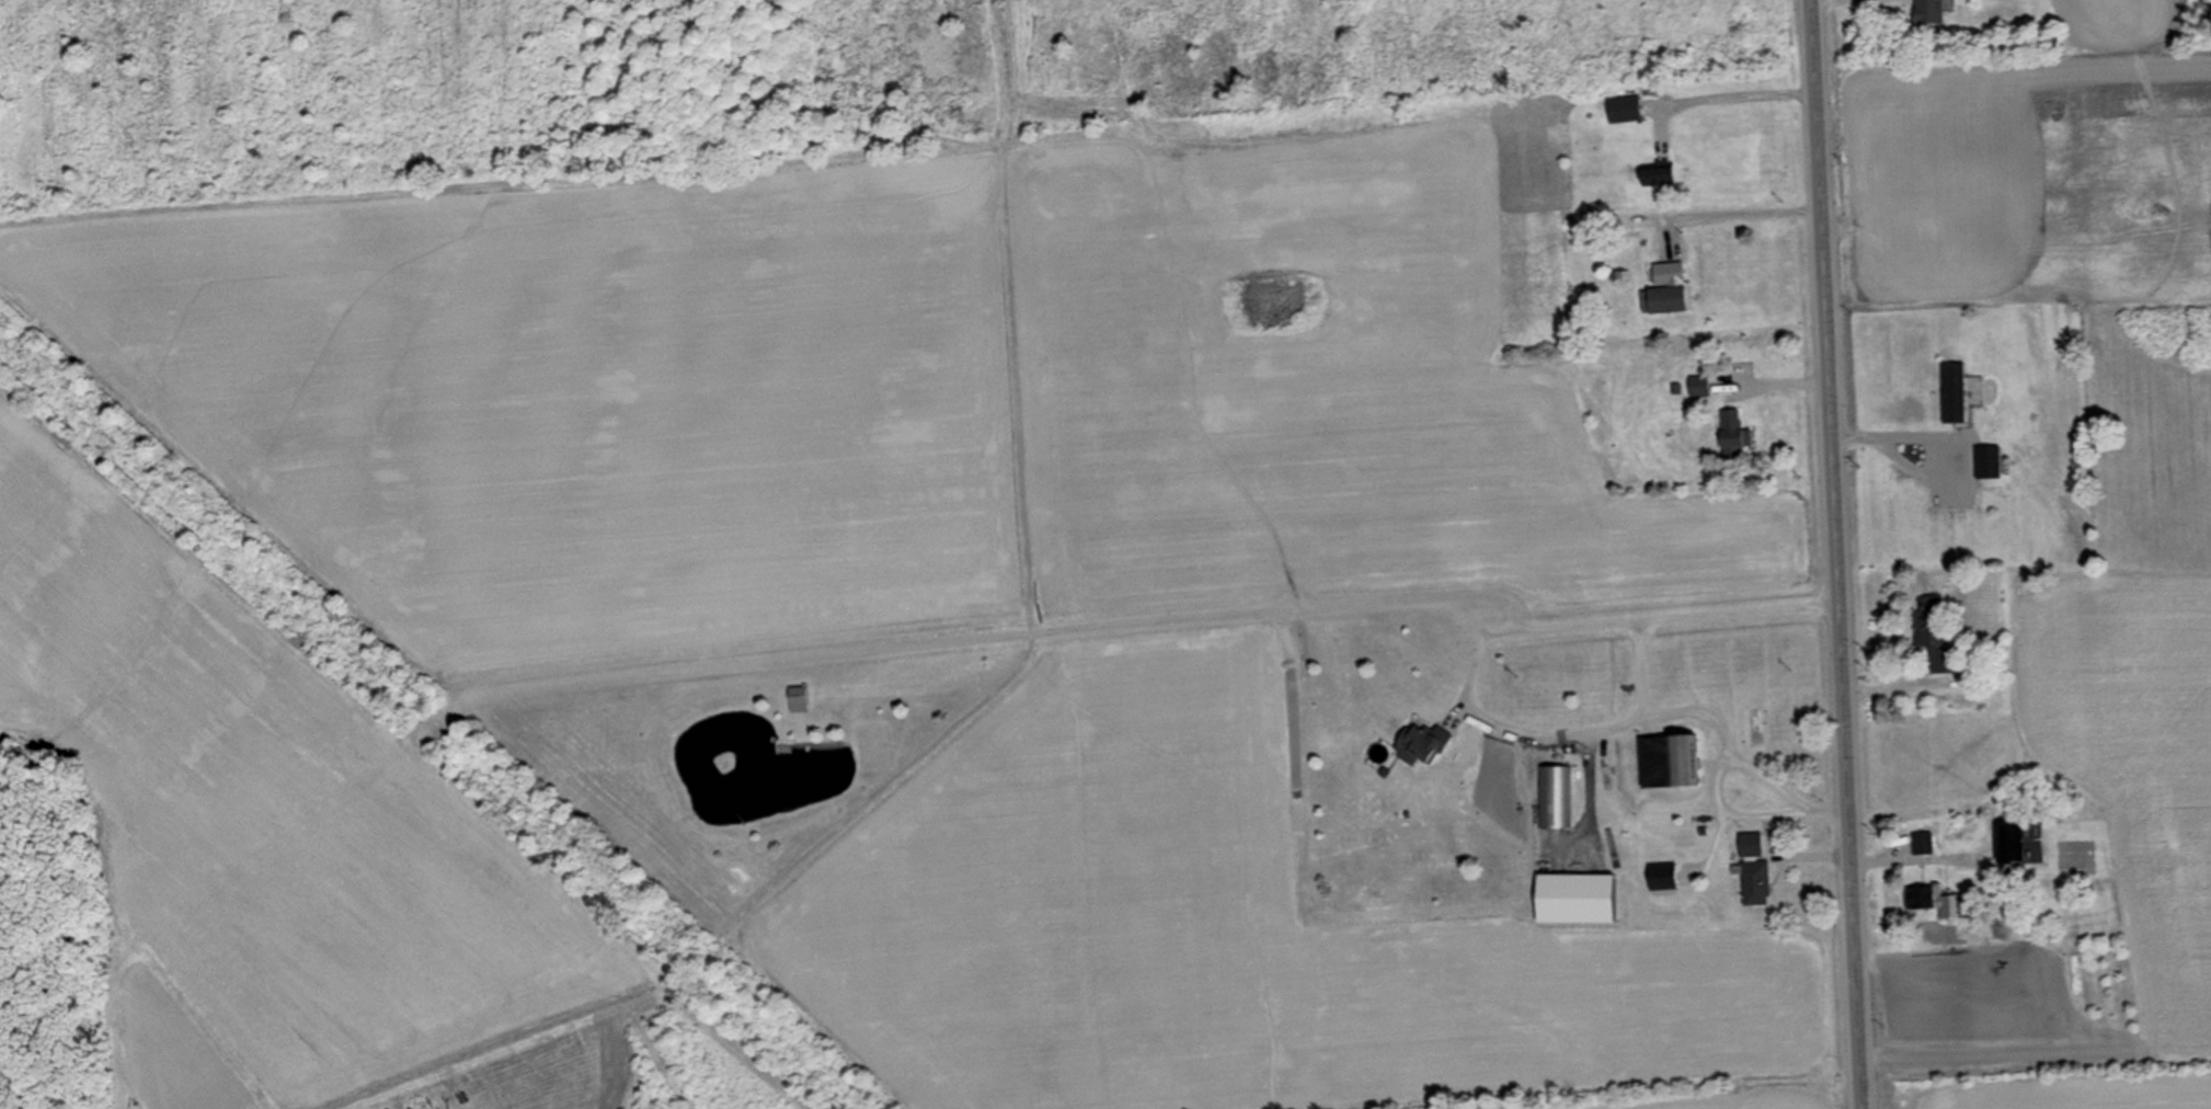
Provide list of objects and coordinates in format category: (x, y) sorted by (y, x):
building: (1928, 11)
building: (1624, 110)
building: (1657, 175)
building: (1669, 294)
building: (1699, 388)
building: (1954, 392)
building: (1733, 436)
building: (1989, 462)
road: (1834, 554)
road: (1507, 626)
building: (1932, 636)
road: (1633, 665)
building: (798, 699)
road: (1716, 732)
building: (1421, 744)
building: (1669, 762)
building: (1555, 798)
road: (1785, 809)
road: (1759, 822)
building: (1923, 845)
building: (2018, 845)
building: (1750, 846)
building: (1662, 877)
building: (1755, 884)
building: (1934, 903)

